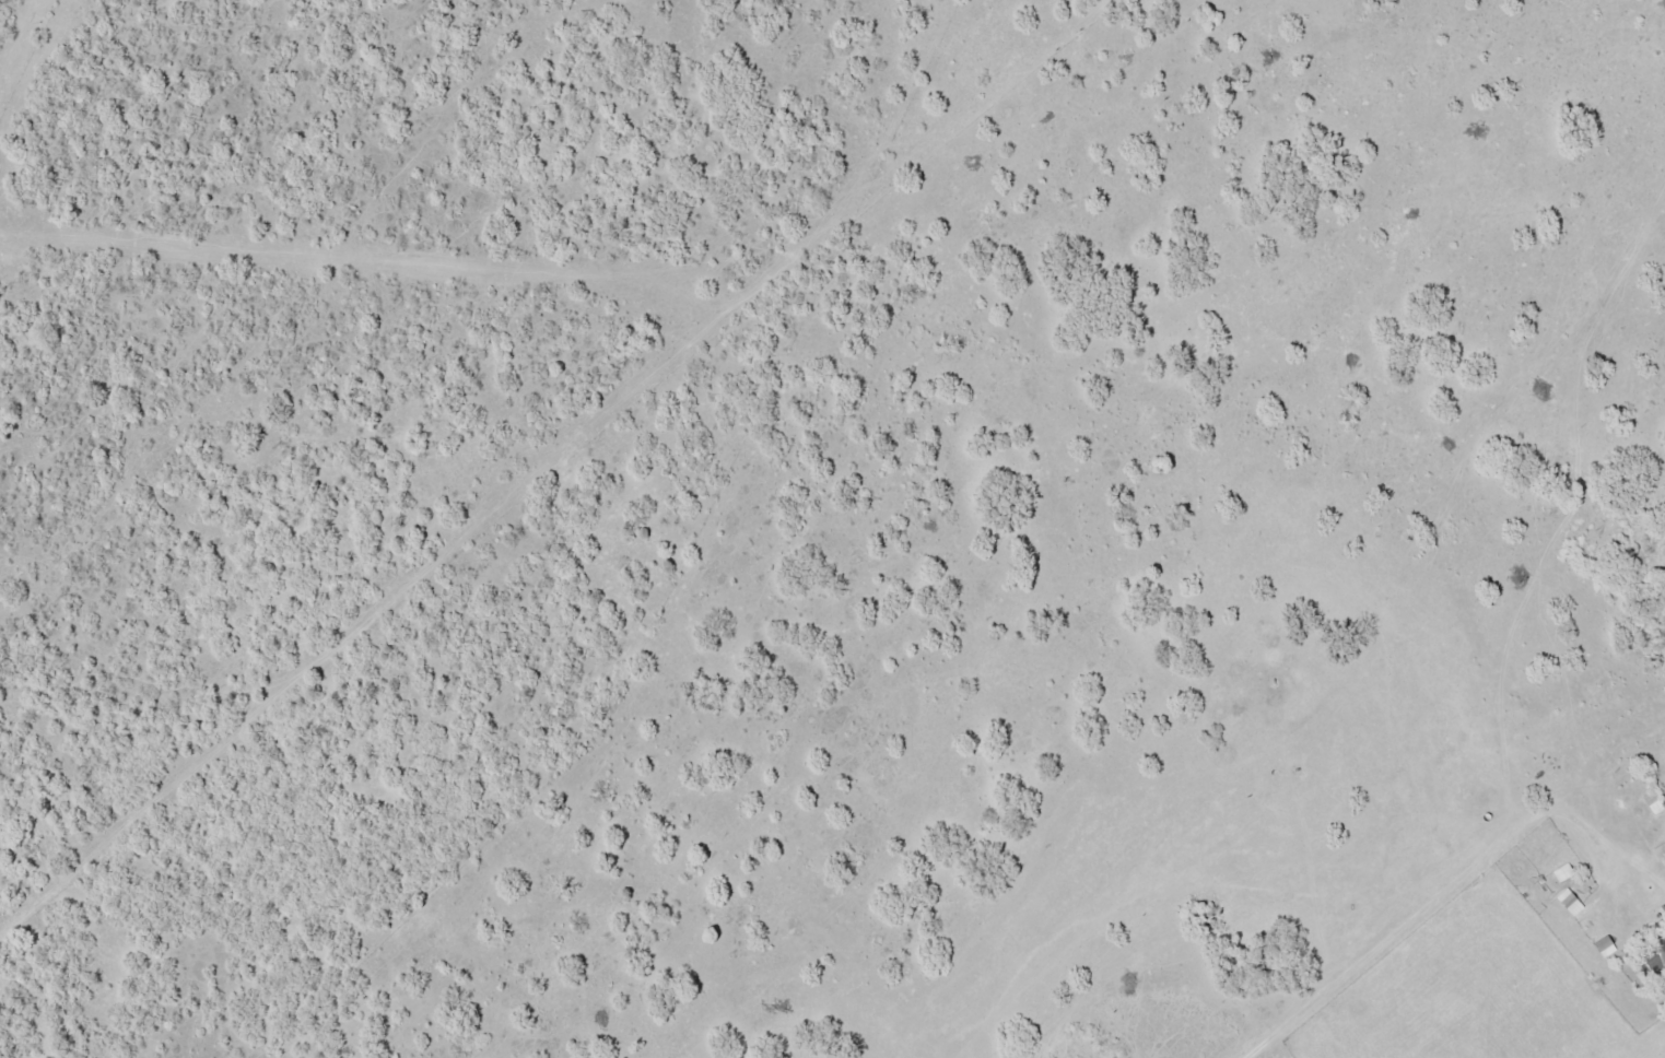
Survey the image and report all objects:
building: (1652, 801)
building: (1658, 848)
building: (1664, 868)
building: (1561, 872)
building: (1567, 902)
road: (1420, 908)
building: (1652, 956)

